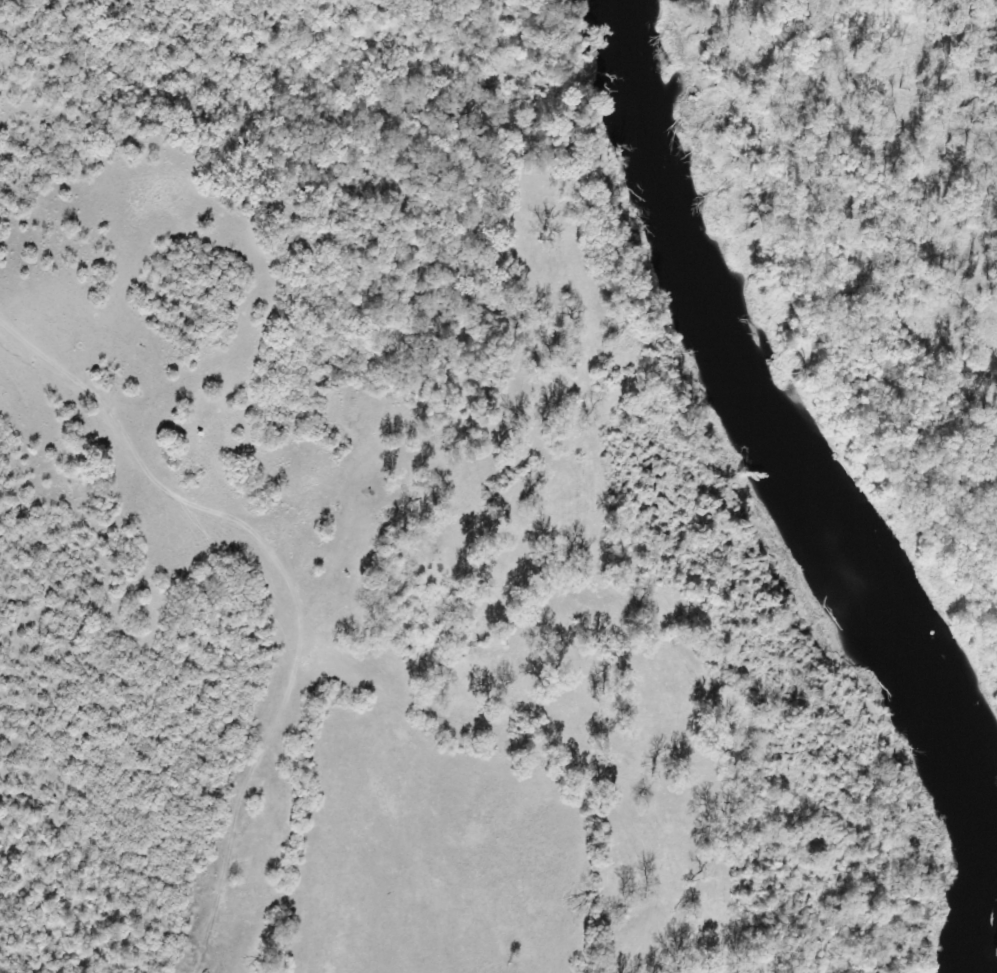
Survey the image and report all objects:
river: (819, 491)

